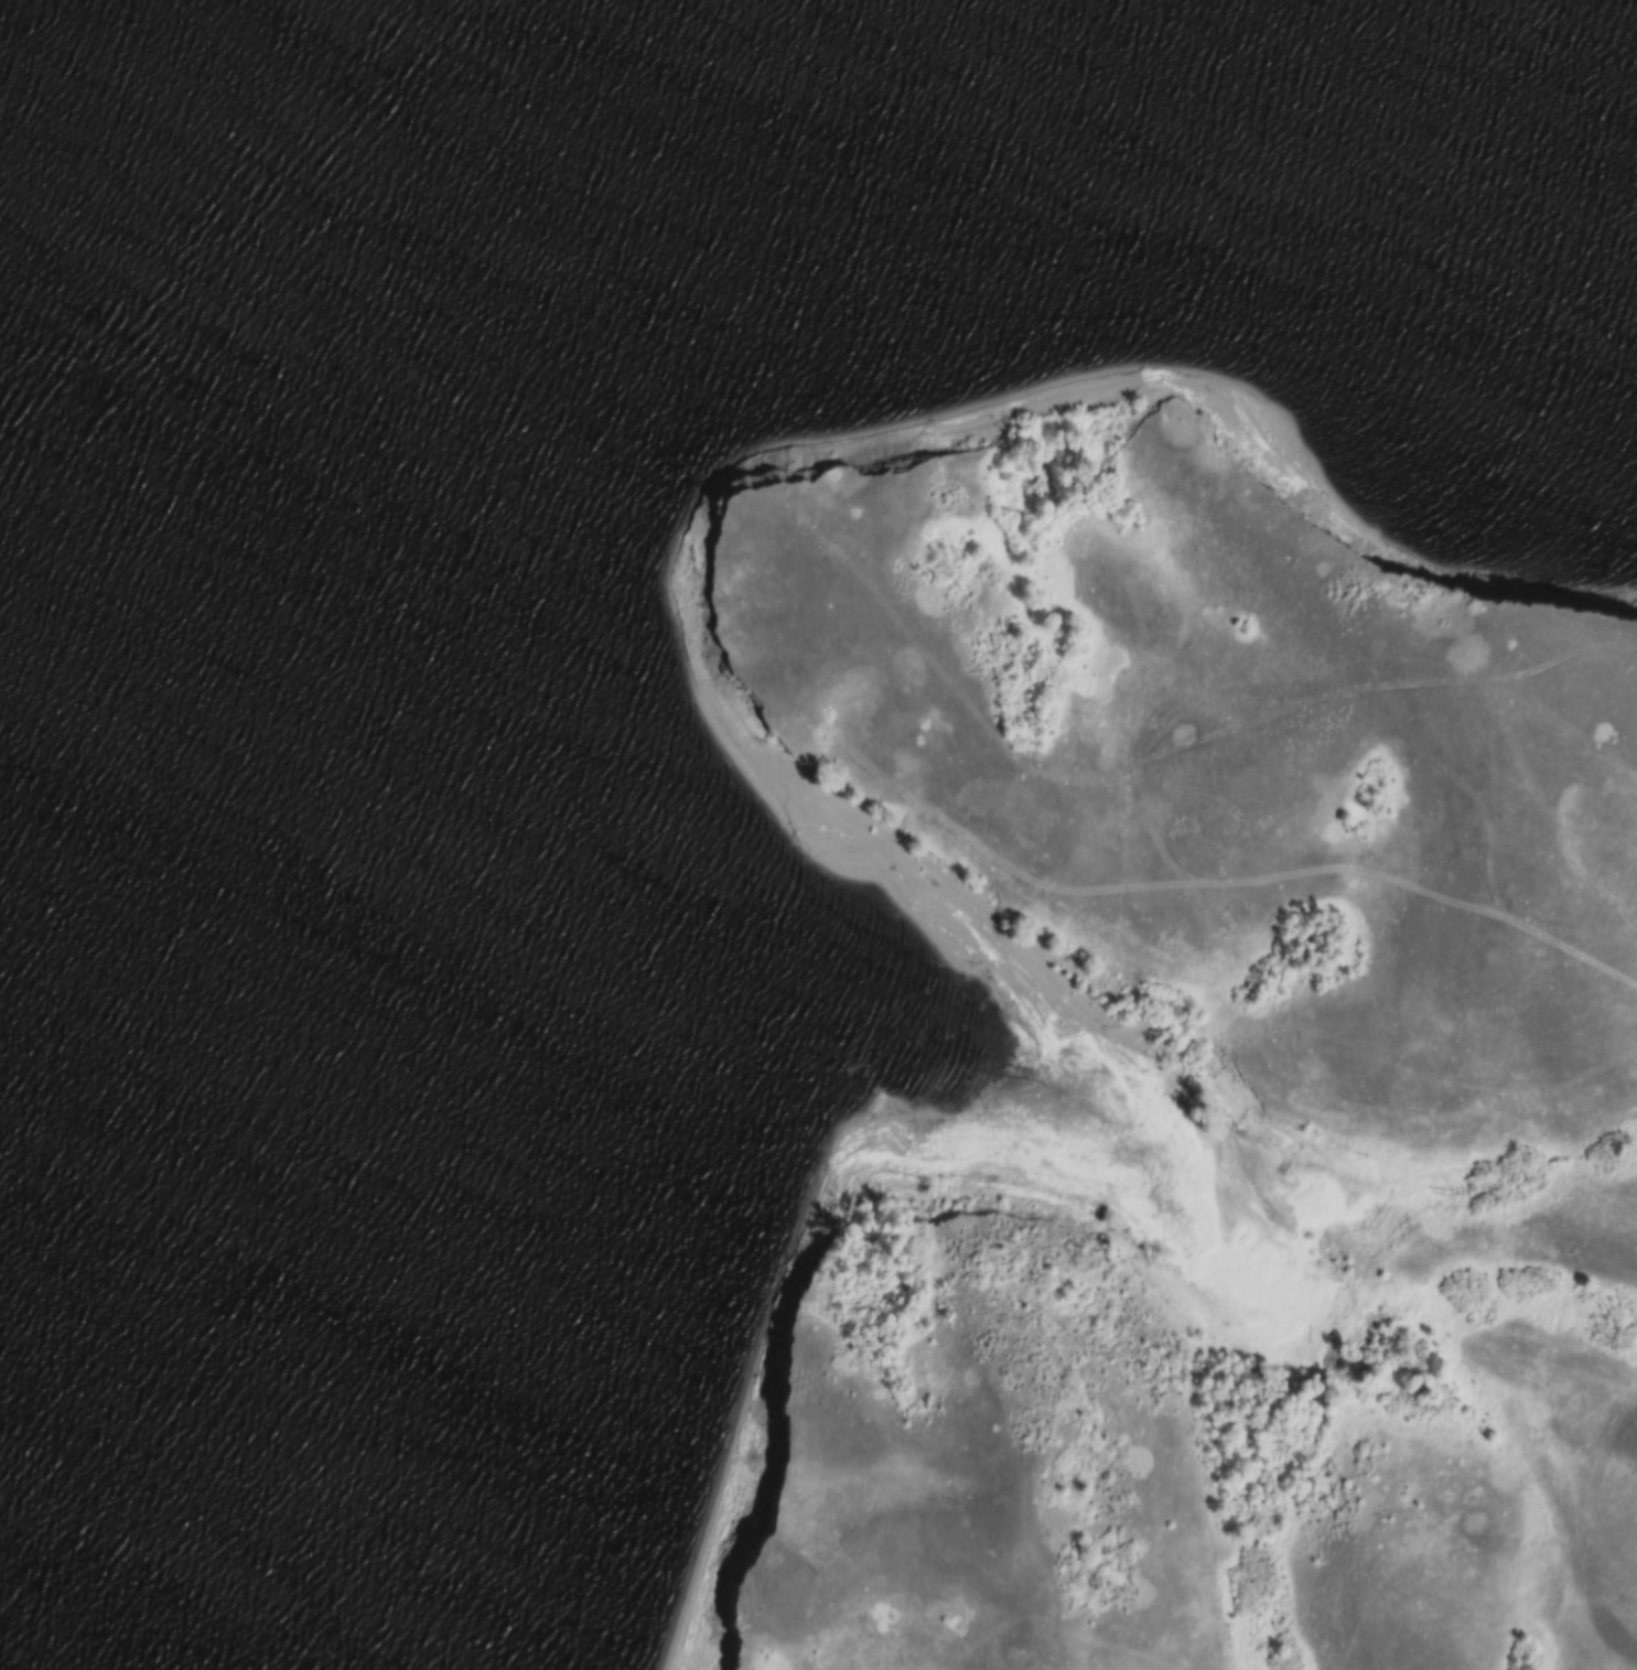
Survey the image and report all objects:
road: (1576, 1516)

